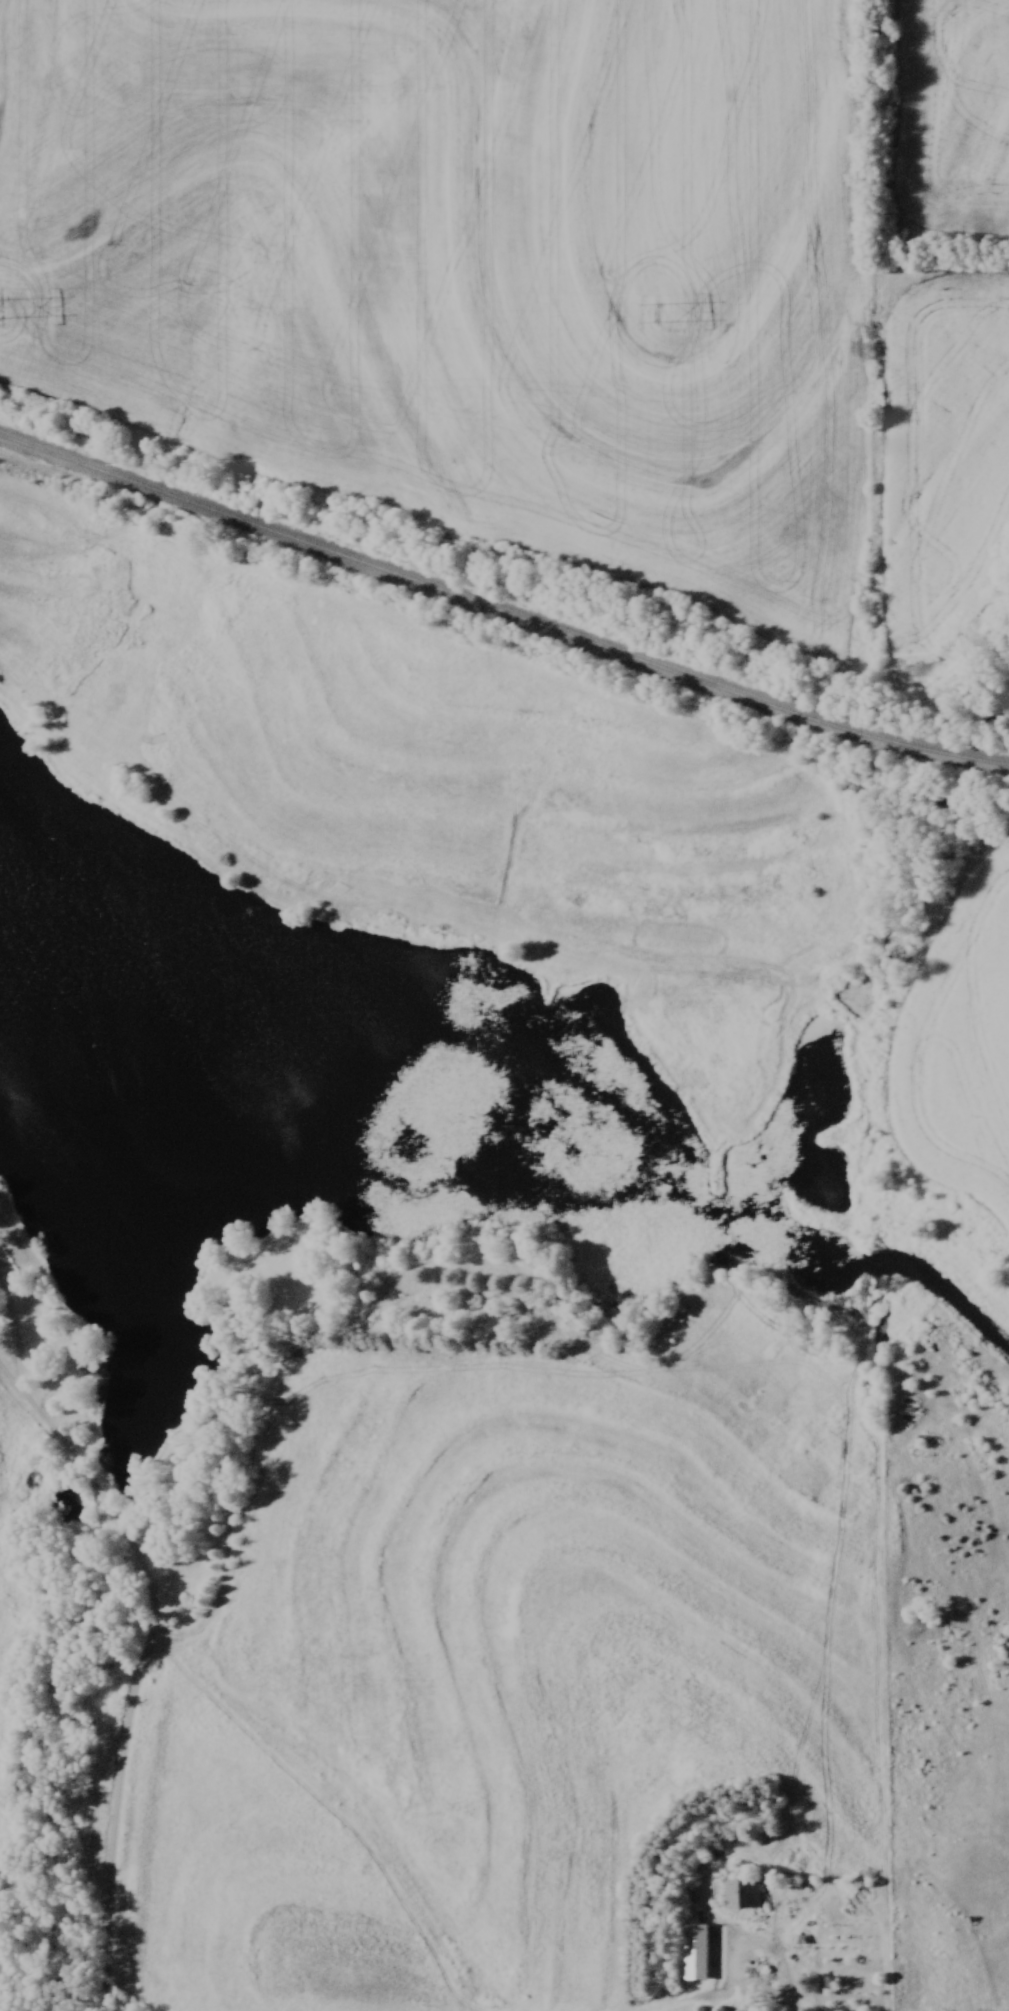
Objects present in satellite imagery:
power tower: (656, 310)
railway: (501, 608)
building: (742, 1892)
road: (784, 1960)

